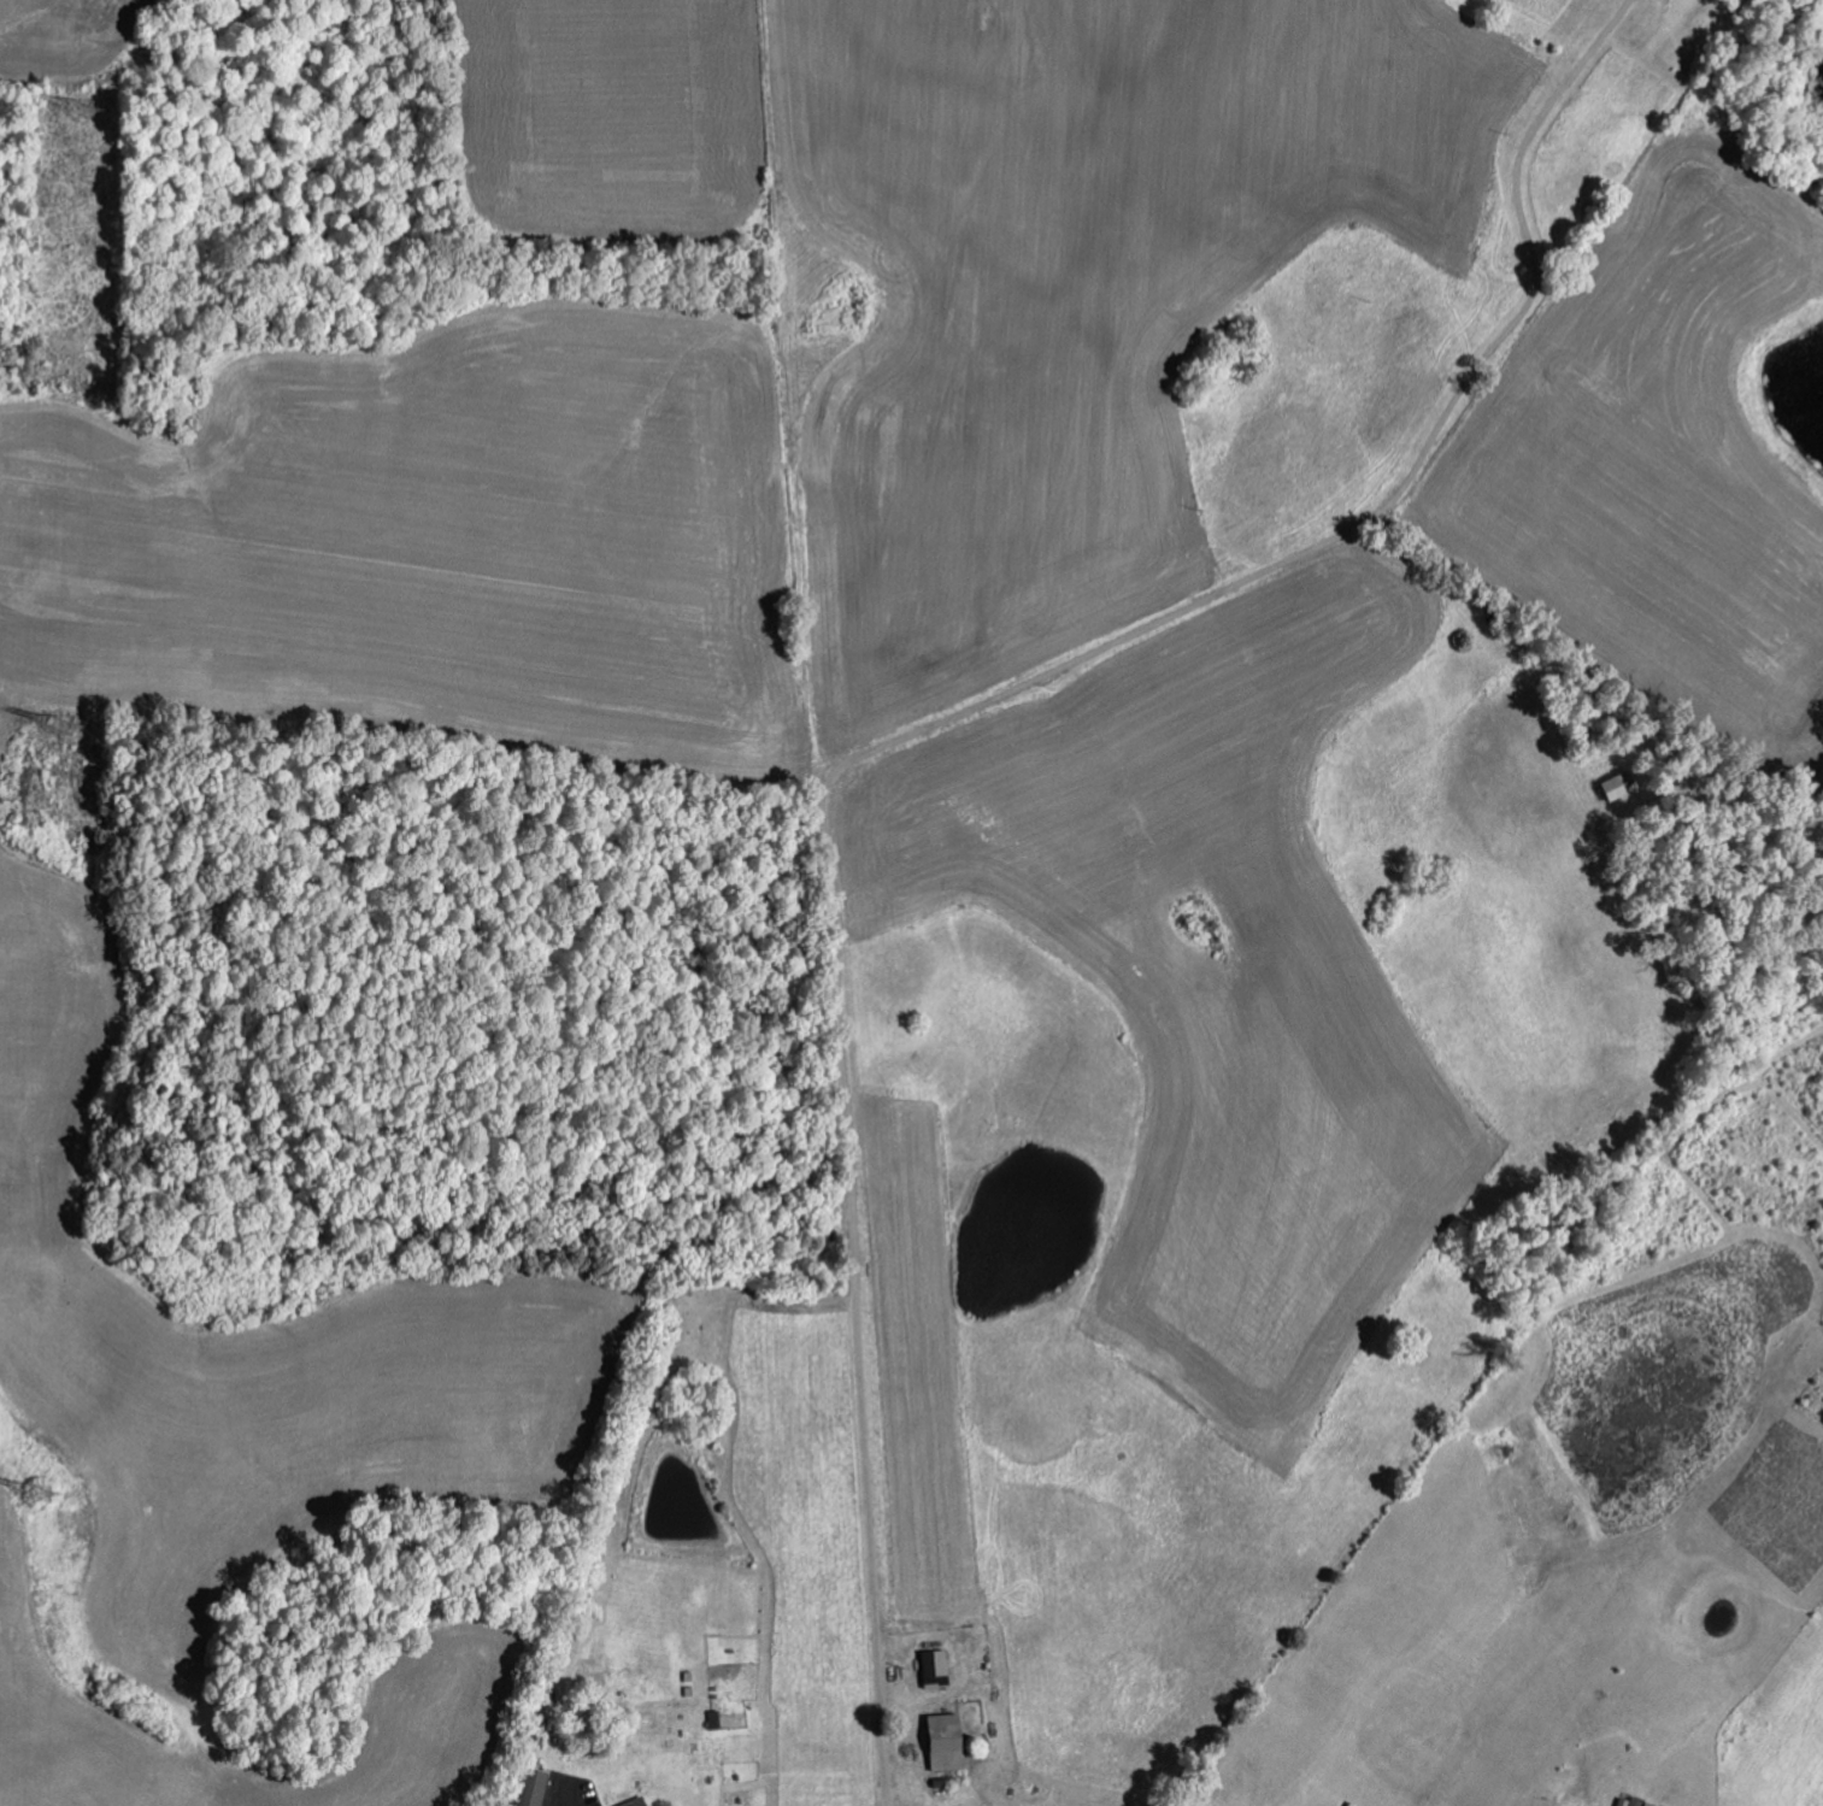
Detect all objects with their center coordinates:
power tower: (94, 117)
road: (908, 730)
power tower: (65, 731)
power tower: (45, 1505)
building: (939, 1667)
building: (952, 1741)
building: (539, 1787)
building: (640, 1802)
building: (1643, 1804)

